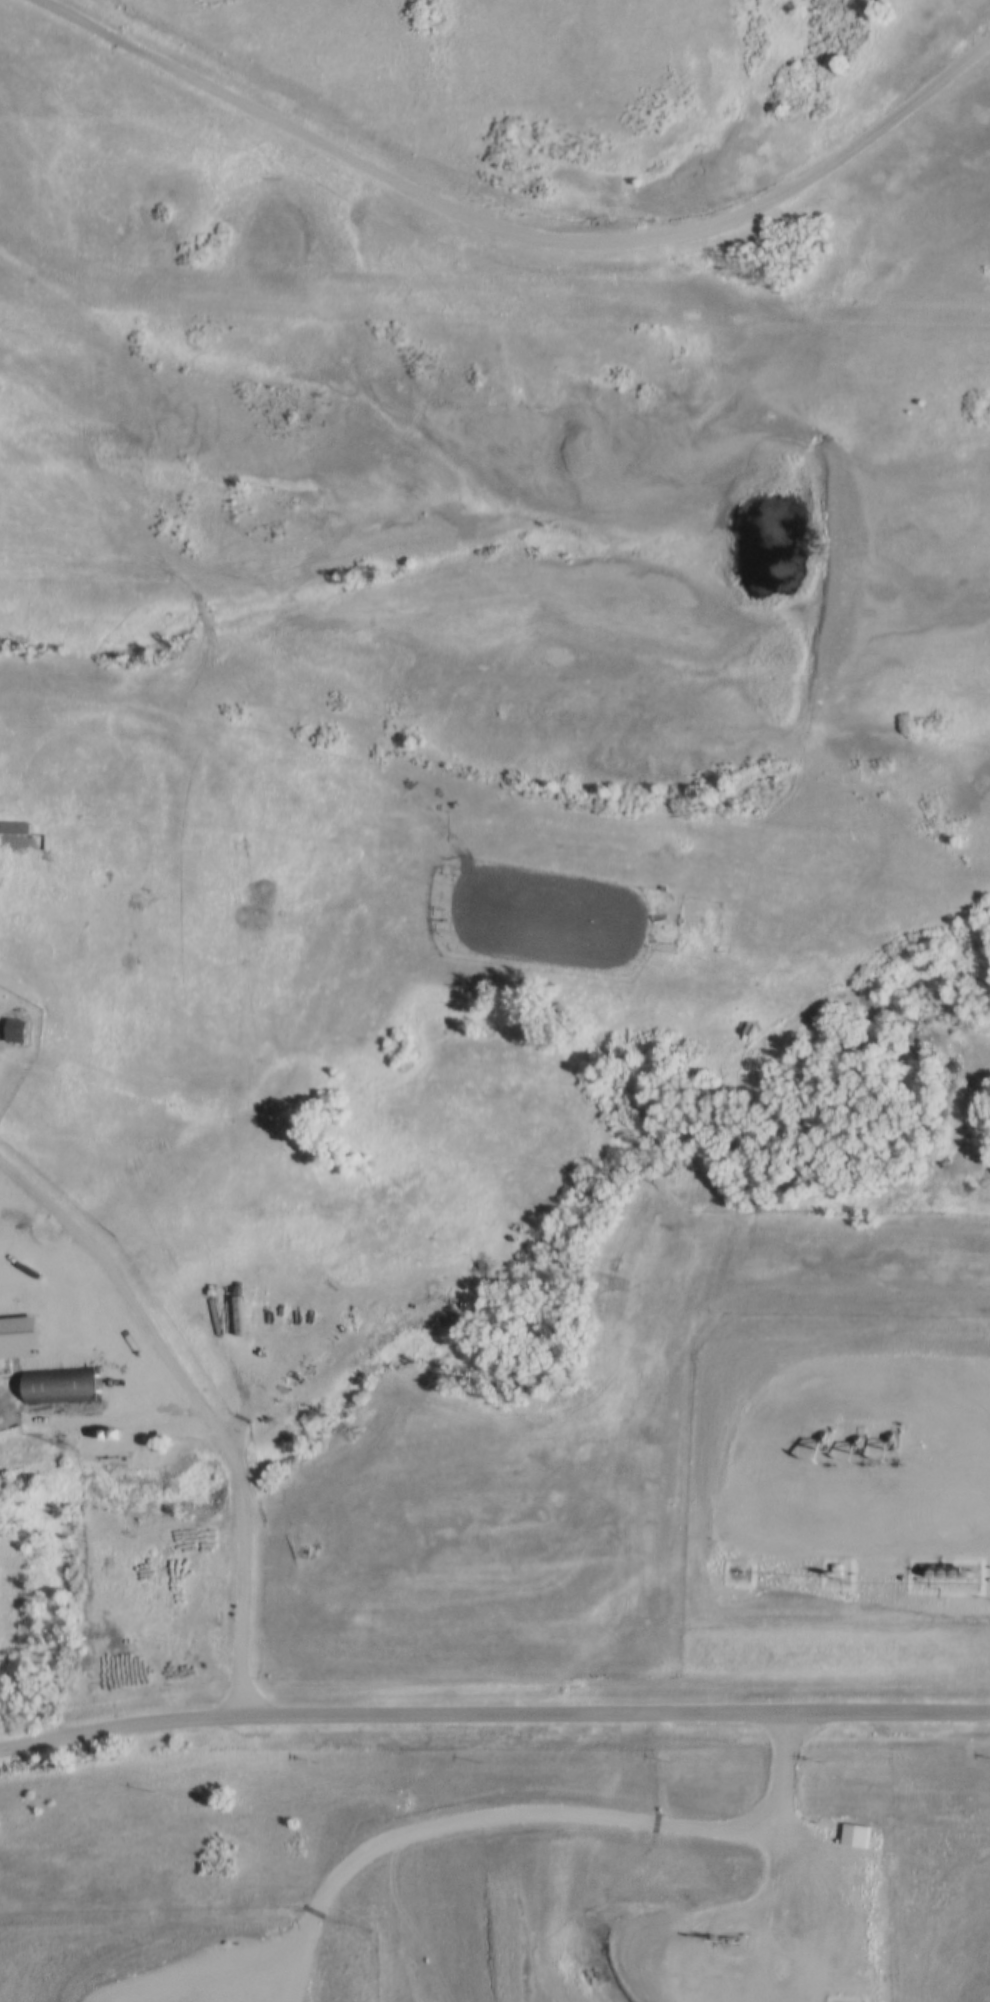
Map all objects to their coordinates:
road: (724, 899)
building: (10, 1031)
road: (198, 1416)
road: (493, 1719)

